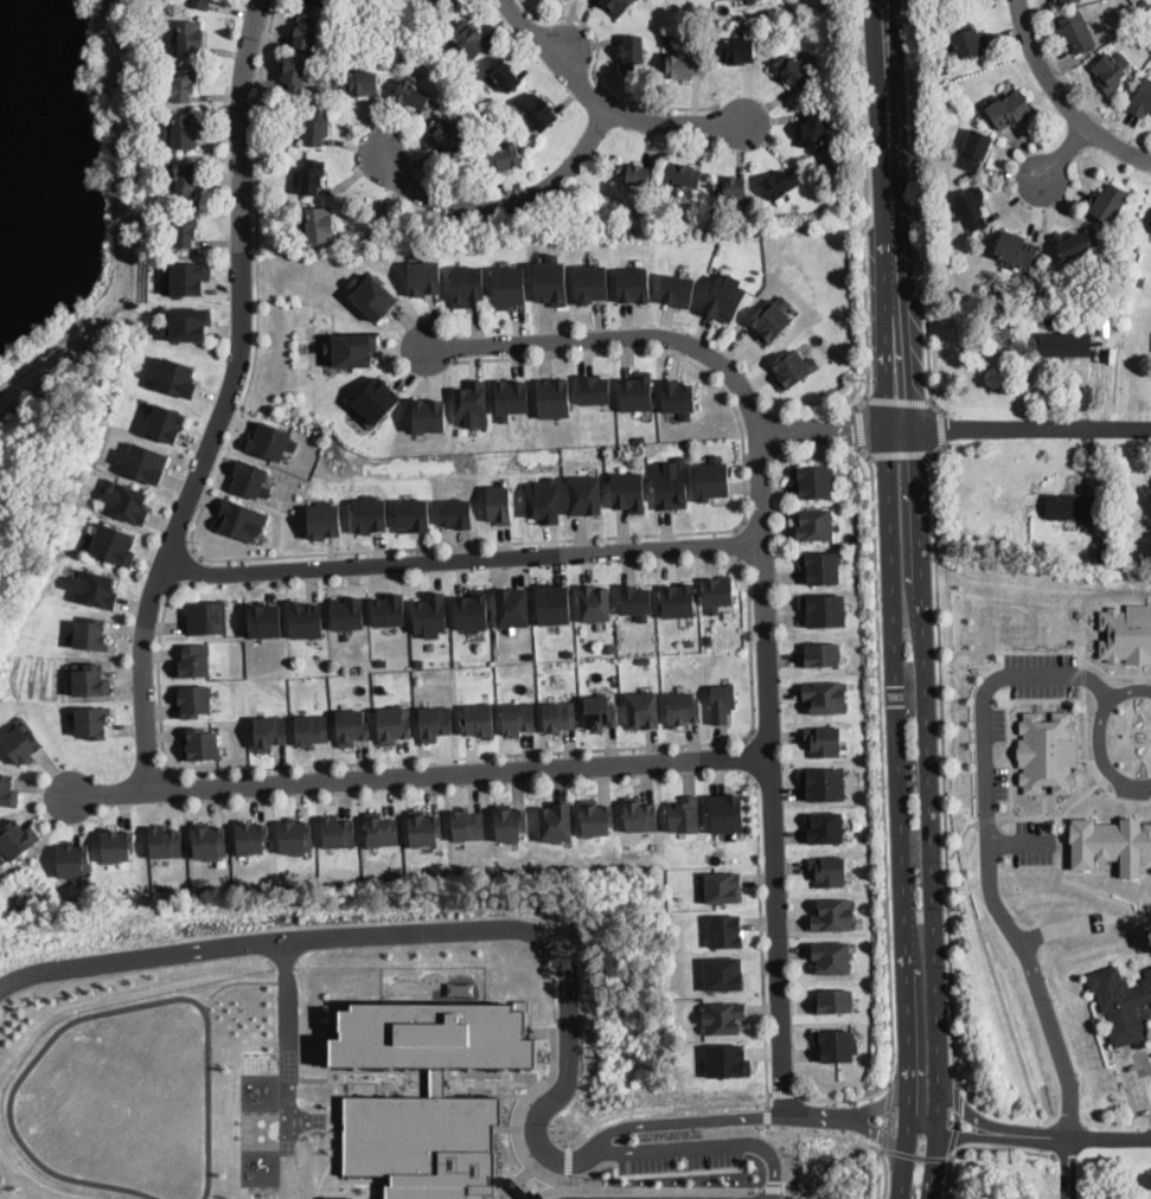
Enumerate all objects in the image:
building: (1061, 0)
building: (318, 2)
building: (200, 4)
building: (443, 4)
building: (616, 6)
building: (1131, 14)
building: (305, 32)
building: (1075, 32)
building: (966, 38)
building: (190, 39)
building: (469, 39)
road: (565, 49)
building: (737, 50)
building: (632, 53)
building: (683, 65)
building: (942, 70)
building: (791, 71)
building: (1107, 72)
building: (294, 73)
building: (503, 75)
road: (595, 77)
building: (360, 83)
building: (184, 84)
road: (1073, 88)
building: (413, 95)
road: (1063, 98)
building: (1142, 98)
road: (603, 105)
building: (1009, 109)
building: (538, 113)
building: (315, 127)
building: (183, 130)
building: (813, 130)
building: (443, 132)
building: (974, 149)
road: (1064, 150)
building: (504, 156)
building: (633, 173)
building: (683, 175)
building: (312, 177)
building: (186, 178)
building: (781, 182)
building: (728, 188)
road: (503, 203)
building: (1106, 203)
building: (972, 209)
road: (868, 211)
road: (919, 211)
road: (891, 214)
building: (319, 225)
building: (185, 229)
building: (1150, 229)
building: (1074, 242)
building: (1015, 248)
building: (424, 276)
building: (190, 277)
building: (551, 280)
road: (257, 281)
building: (1137, 281)
building: (592, 282)
building: (467, 283)
building: (634, 283)
building: (510, 286)
building: (678, 289)
building: (373, 295)
building: (725, 296)
building: (1114, 316)
building: (770, 318)
building: (188, 323)
building: (1066, 344)
building: (352, 348)
building: (792, 367)
building: (175, 376)
building: (594, 387)
building: (637, 391)
building: (554, 396)
building: (511, 397)
building: (678, 397)
building: (378, 399)
road: (226, 400)
road: (900, 402)
building: (472, 403)
park: (51, 406)
building: (429, 413)
building: (166, 422)
road: (941, 427)
road: (859, 428)
road: (1025, 429)
road: (829, 430)
building: (270, 440)
road: (902, 453)
building: (143, 461)
building: (712, 477)
building: (250, 479)
building: (814, 479)
building: (670, 482)
building: (628, 489)
building: (584, 494)
building: (543, 499)
building: (127, 501)
building: (498, 504)
building: (1072, 508)
building: (370, 512)
building: (456, 512)
building: (413, 514)
building: (241, 518)
building: (324, 518)
building: (814, 524)
road: (680, 533)
building: (1110, 540)
building: (114, 543)
road: (740, 545)
building: (83, 547)
building: (1107, 557)
road: (461, 559)
building: (821, 565)
road: (190, 569)
road: (762, 582)
building: (94, 588)
building: (717, 591)
building: (678, 598)
building: (637, 599)
building: (554, 602)
building: (595, 602)
building: (512, 605)
building: (389, 608)
building: (824, 609)
building: (472, 610)
building: (347, 611)
building: (430, 614)
building: (207, 616)
building: (264, 618)
building: (306, 618)
building: (91, 633)
road: (1083, 633)
building: (1126, 633)
building: (708, 639)
building: (689, 641)
building: (609, 647)
building: (569, 652)
building: (820, 653)
building: (194, 659)
building: (644, 659)
building: (382, 661)
building: (418, 662)
road: (1114, 673)
road: (1083, 675)
building: (90, 678)
building: (826, 695)
building: (196, 699)
building: (722, 700)
building: (642, 708)
building: (683, 708)
building: (599, 711)
building: (559, 716)
building: (518, 717)
building: (478, 719)
building: (92, 720)
building: (395, 722)
building: (435, 722)
road: (1006, 722)
building: (352, 725)
building: (312, 729)
building: (270, 731)
road: (1098, 736)
building: (824, 739)
building: (23, 742)
building: (200, 744)
building: (1047, 751)
road: (448, 757)
road: (749, 757)
road: (882, 763)
road: (944, 763)
road: (1089, 763)
road: (418, 775)
building: (824, 783)
building: (7, 789)
road: (1079, 796)
road: (904, 812)
road: (928, 812)
building: (683, 813)
building: (725, 813)
building: (639, 814)
road: (1030, 815)
building: (595, 817)
road: (985, 819)
building: (556, 821)
building: (468, 822)
building: (510, 822)
building: (424, 827)
building: (825, 827)
building: (381, 829)
building: (337, 832)
building: (251, 836)
building: (295, 836)
building: (18, 838)
road: (960, 838)
building: (207, 840)
building: (165, 841)
road: (1021, 841)
building: (1111, 842)
building: (117, 844)
road: (990, 854)
building: (73, 859)
building: (829, 868)
building: (721, 885)
building: (209, 886)
building: (126, 889)
road: (1096, 890)
building: (833, 913)
road: (762, 922)
road: (526, 928)
building: (727, 929)
building: (832, 956)
building: (723, 973)
road: (235, 980)
building: (833, 999)
building: (1120, 1004)
road: (87, 1014)
building: (722, 1017)
building: (435, 1034)
building: (835, 1044)
road: (330, 1053)
building: (725, 1060)
road: (1145, 1077)
building: (437, 1081)
road: (765, 1090)
road: (781, 1091)
road: (844, 1097)
road: (877, 1103)
road: (659, 1108)
road: (966, 1109)
road: (519, 1111)
road: (766, 1114)
road: (816, 1115)
road: (885, 1118)
road: (678, 1120)
road: (958, 1121)
road: (920, 1128)
road: (876, 1131)
road: (821, 1133)
road: (963, 1133)
road: (341, 1134)
road: (1072, 1137)
building: (423, 1143)
road: (984, 1147)
road: (916, 1155)
road: (565, 1160)
road: (791, 1163)
road: (1067, 1168)
road: (646, 1173)
road: (887, 1174)
road: (281, 1175)
road: (657, 1187)
road: (770, 1187)
road: (549, 1190)
building: (335, 1197)

